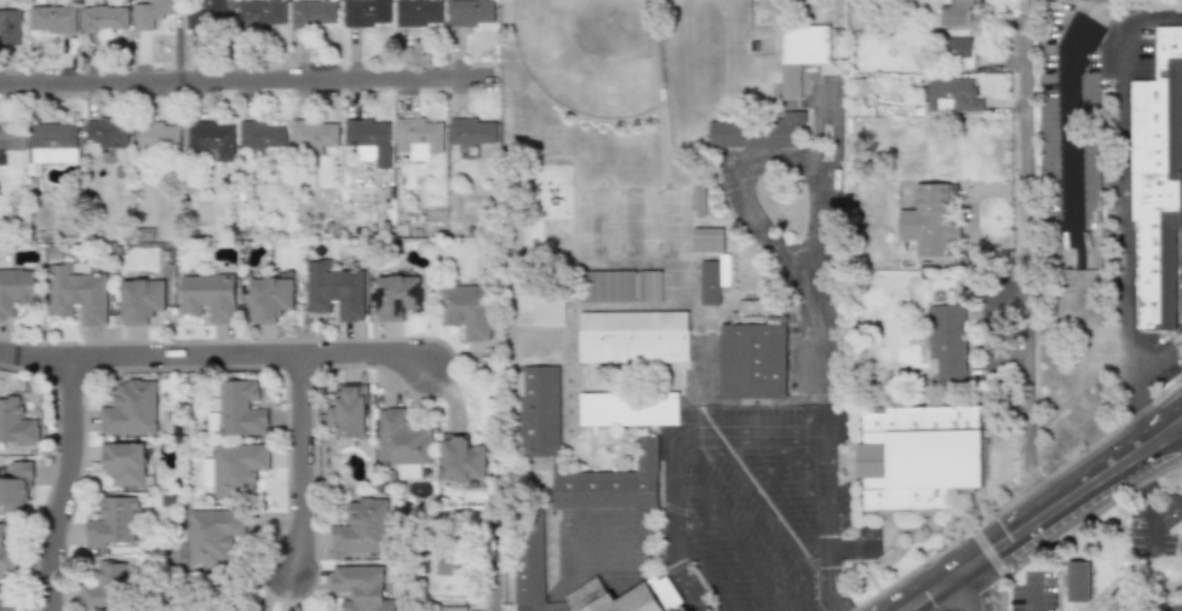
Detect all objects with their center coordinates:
building: (419, 12)
building: (153, 13)
building: (315, 13)
building: (368, 13)
building: (472, 13)
building: (953, 13)
building: (211, 15)
building: (263, 15)
building: (53, 19)
building: (107, 19)
building: (11, 27)
building: (954, 46)
building: (799, 54)
building: (949, 94)
road: (252, 99)
road: (1071, 119)
road: (816, 125)
building: (472, 131)
building: (754, 132)
building: (109, 134)
building: (160, 134)
building: (264, 134)
building: (314, 136)
building: (368, 136)
building: (12, 137)
building: (420, 137)
building: (214, 138)
building: (52, 144)
building: (1, 156)
building: (1157, 181)
road: (821, 190)
road: (1123, 209)
building: (934, 235)
road: (763, 237)
building: (706, 240)
road: (1025, 265)
building: (713, 278)
building: (621, 286)
building: (15, 288)
building: (335, 290)
building: (79, 292)
building: (208, 294)
building: (397, 296)
building: (270, 298)
building: (140, 301)
building: (466, 310)
building: (540, 310)
building: (633, 338)
building: (946, 341)
road: (1155, 350)
building: (753, 351)
road: (362, 353)
road: (148, 355)
road: (819, 369)
building: (131, 407)
building: (629, 409)
building: (236, 410)
building: (350, 410)
road: (1170, 416)
building: (16, 422)
road: (1172, 433)
road: (751, 437)
building: (403, 439)
building: (538, 446)
building: (918, 456)
building: (463, 460)
building: (125, 462)
road: (299, 462)
building: (237, 468)
road: (799, 474)
road: (63, 484)
building: (15, 485)
road: (757, 494)
road: (1149, 505)
building: (1171, 511)
road: (1031, 521)
building: (114, 523)
building: (361, 526)
building: (208, 535)
road: (725, 535)
road: (813, 548)
building: (7, 553)
building: (529, 559)
road: (704, 566)
road: (507, 567)
road: (798, 581)
building: (1078, 581)
building: (104, 587)
building: (362, 588)
road: (975, 588)
road: (1035, 592)
building: (202, 593)
building: (1, 594)
building: (620, 595)
building: (455, 609)

